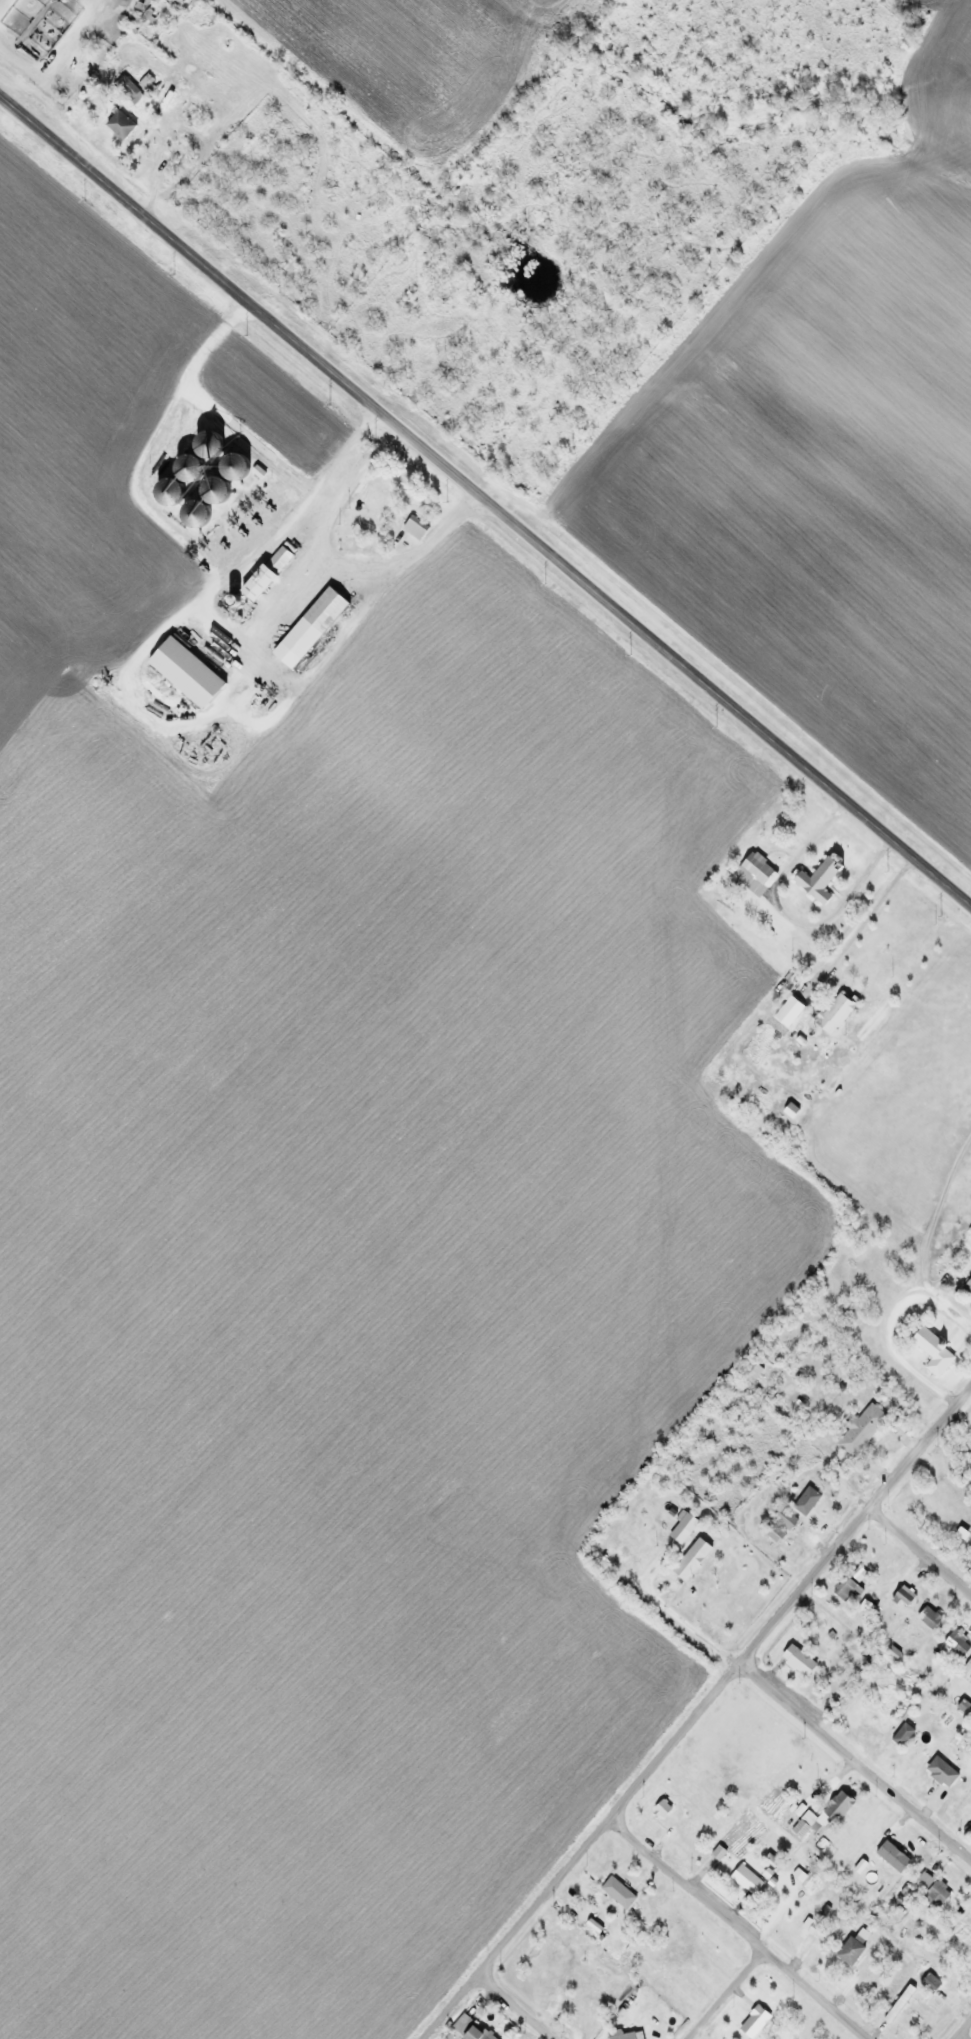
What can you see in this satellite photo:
building: (70, 47)
building: (151, 87)
building: (124, 125)
building: (376, 499)
road: (485, 501)
building: (416, 527)
building: (283, 555)
building: (263, 583)
building: (314, 626)
building: (189, 672)
building: (751, 872)
building: (813, 881)
building: (831, 1014)
building: (967, 1285)
building: (929, 1351)
building: (748, 1372)
building: (970, 1425)
building: (858, 1430)
building: (800, 1501)
building: (782, 1519)
building: (680, 1528)
road: (920, 1549)
building: (687, 1560)
building: (865, 1607)
road: (676, 1608)
building: (926, 1618)
building: (954, 1642)
building: (795, 1660)
building: (965, 1665)
road: (695, 1711)
building: (964, 1744)
road: (855, 1760)
building: (964, 1795)
building: (822, 1815)
building: (743, 1879)
building: (927, 1890)
building: (614, 1894)
road: (735, 1928)
building: (814, 1931)
building: (969, 1941)
building: (848, 1949)
building: (584, 1974)
building: (927, 1981)
road: (725, 1995)
road: (514, 2006)
building: (916, 2010)
building: (751, 2022)
road: (961, 2028)
building: (475, 2031)
building: (616, 2035)

